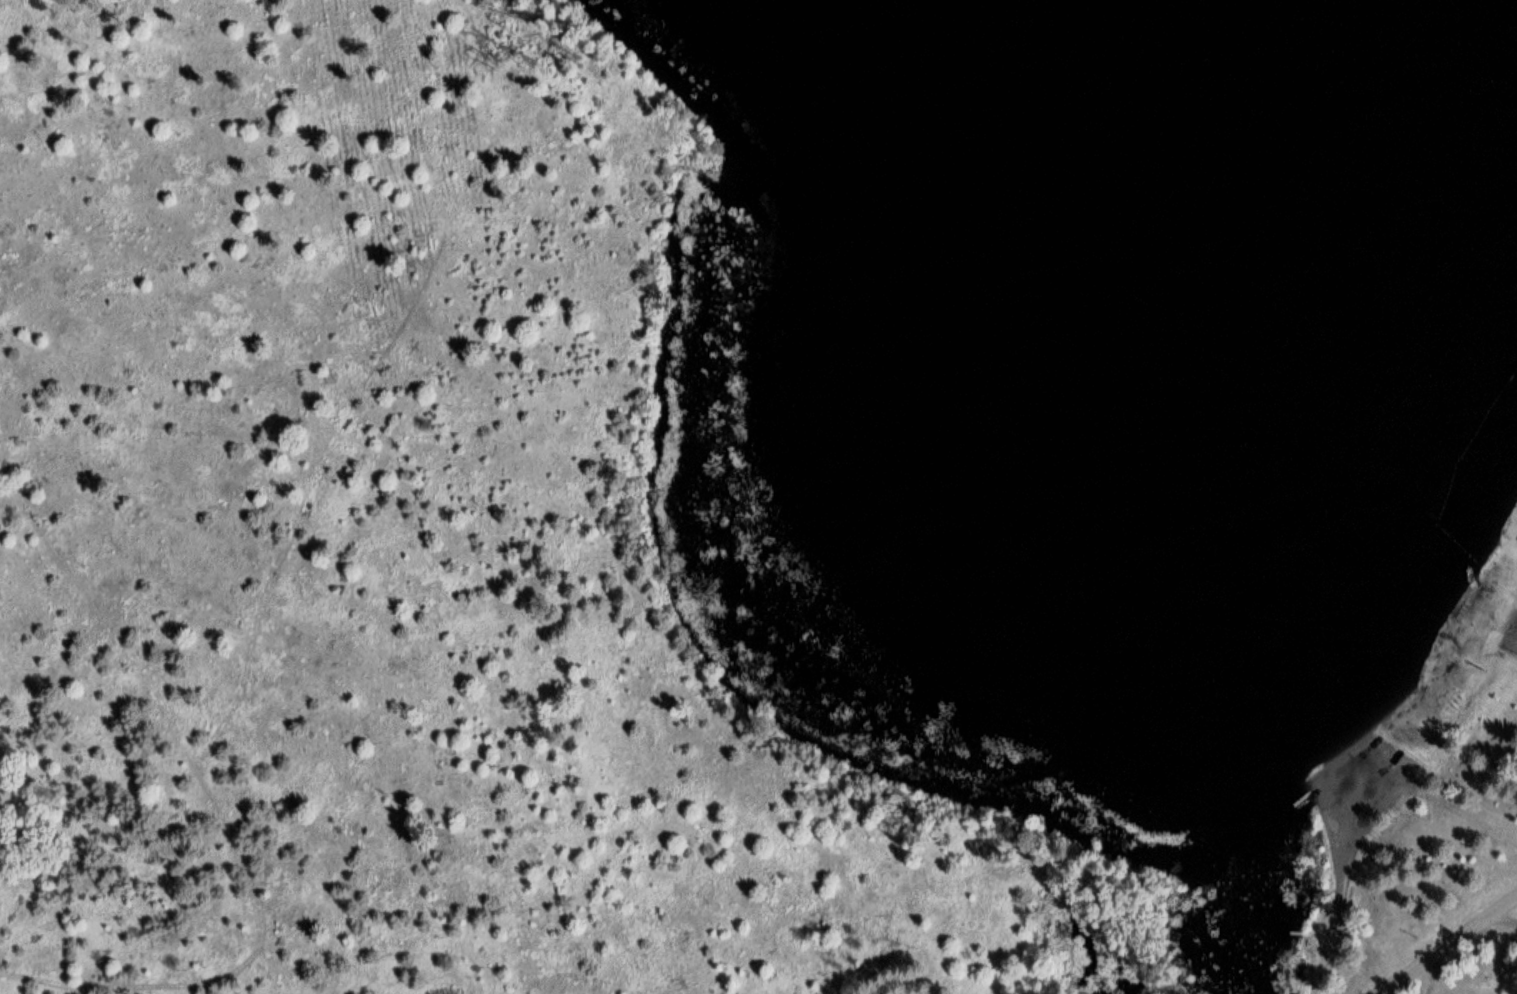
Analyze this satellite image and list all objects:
park: (1428, 811)
road: (1339, 886)
road: (1442, 941)

